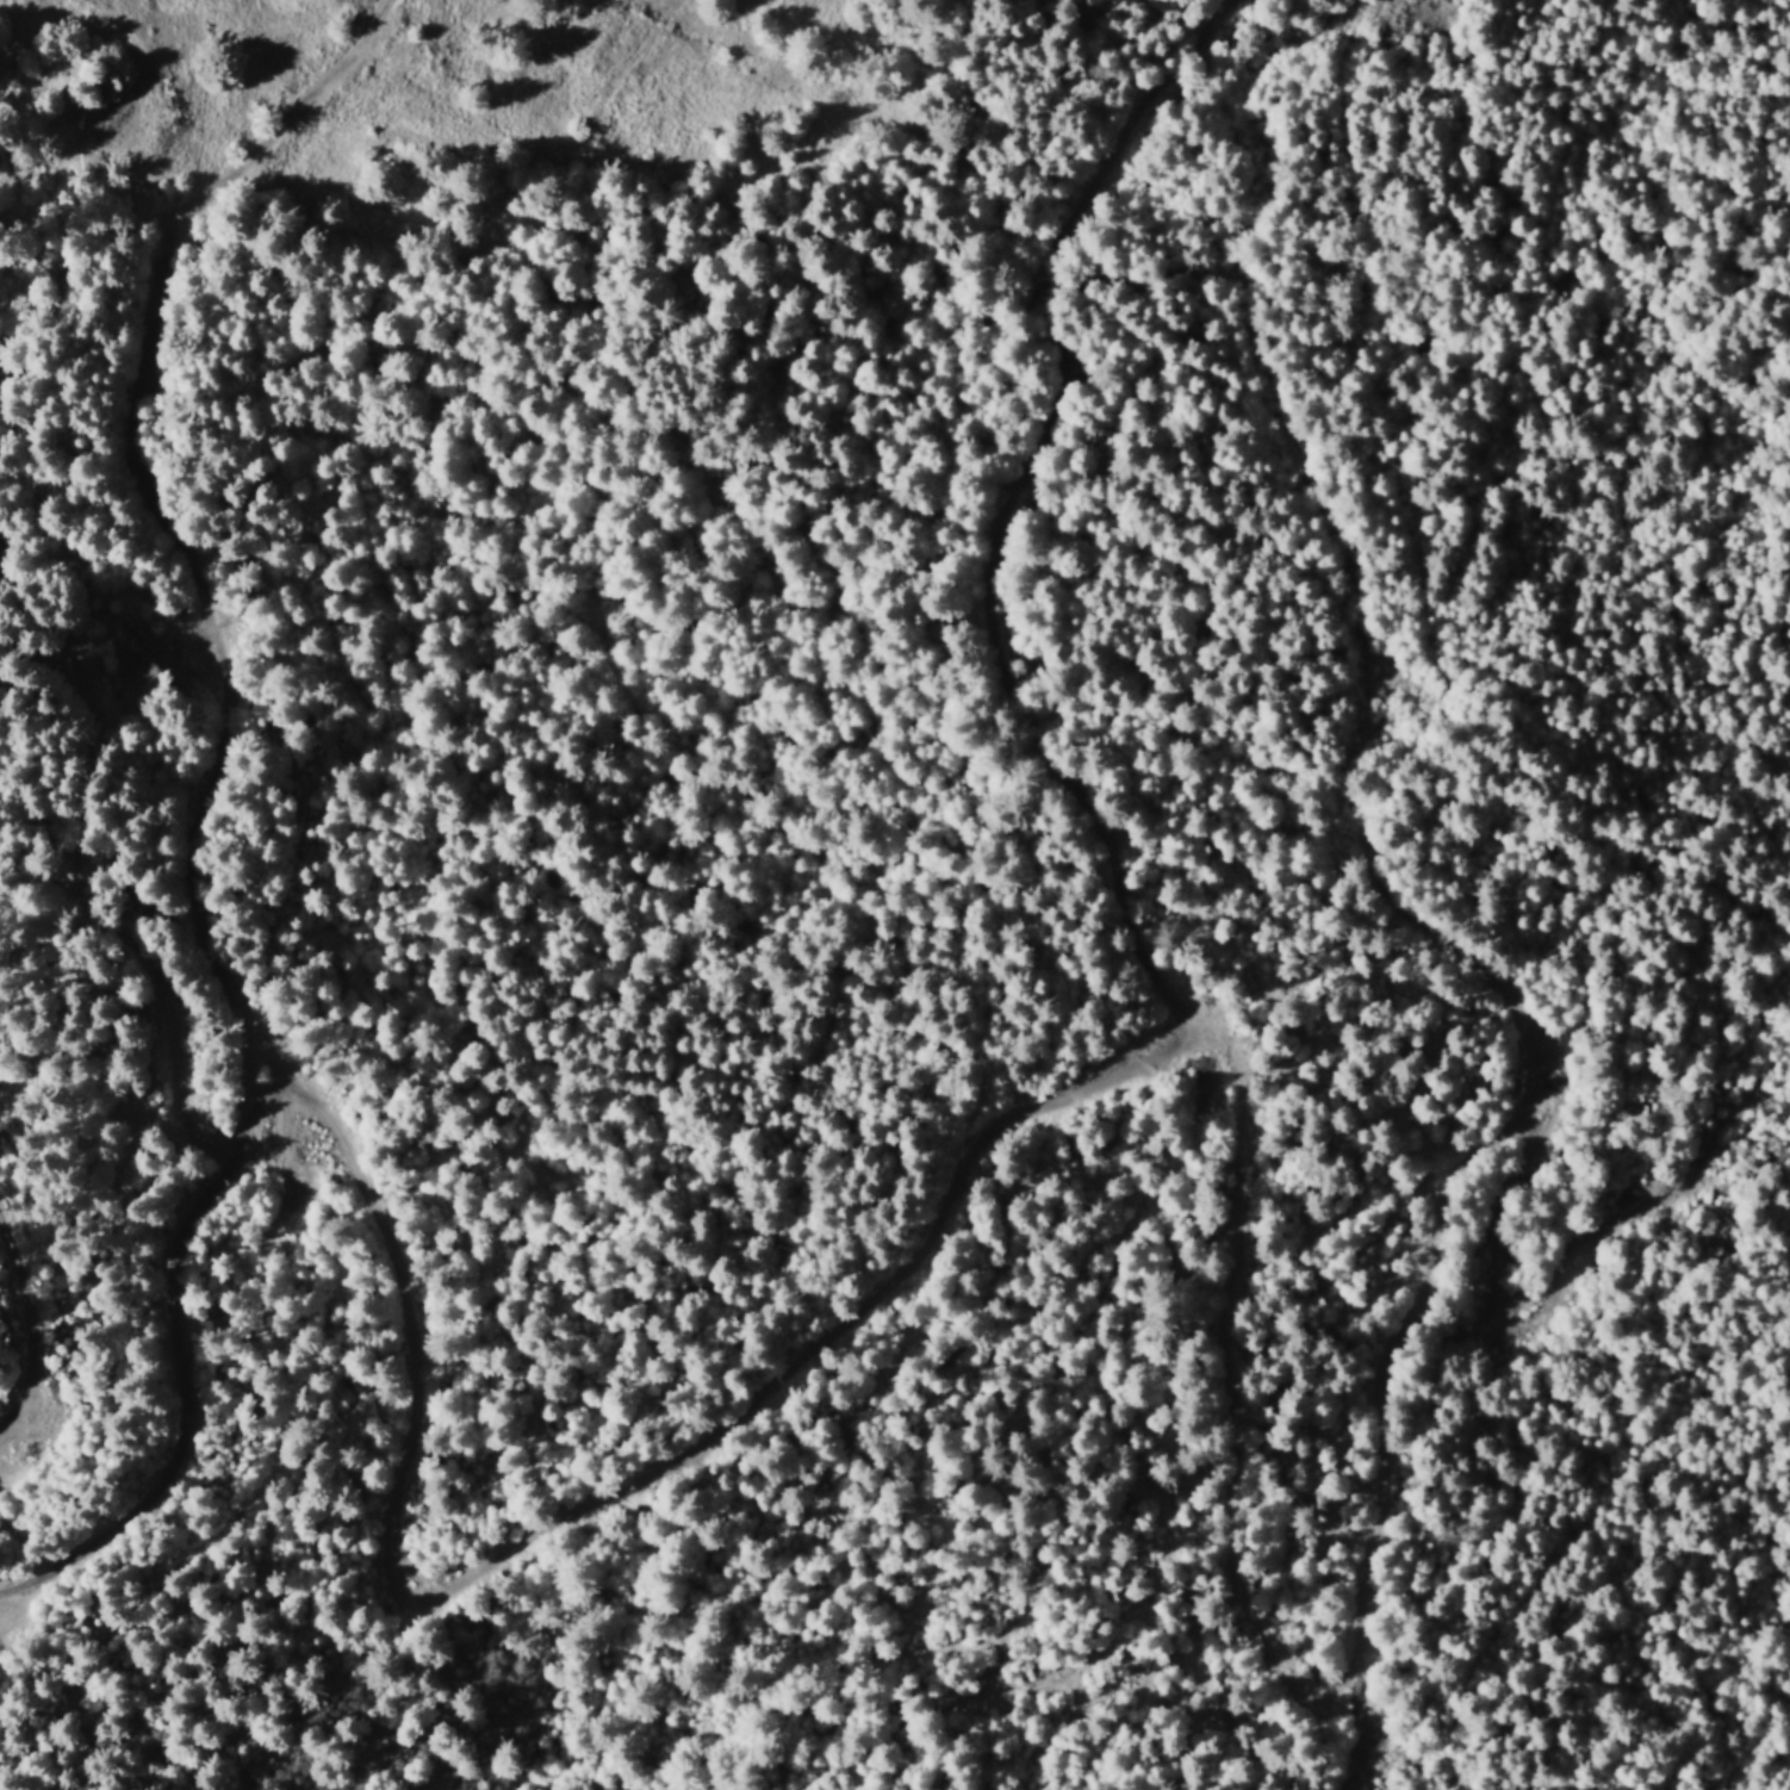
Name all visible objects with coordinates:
road: (188, 800)
road: (11, 1314)

